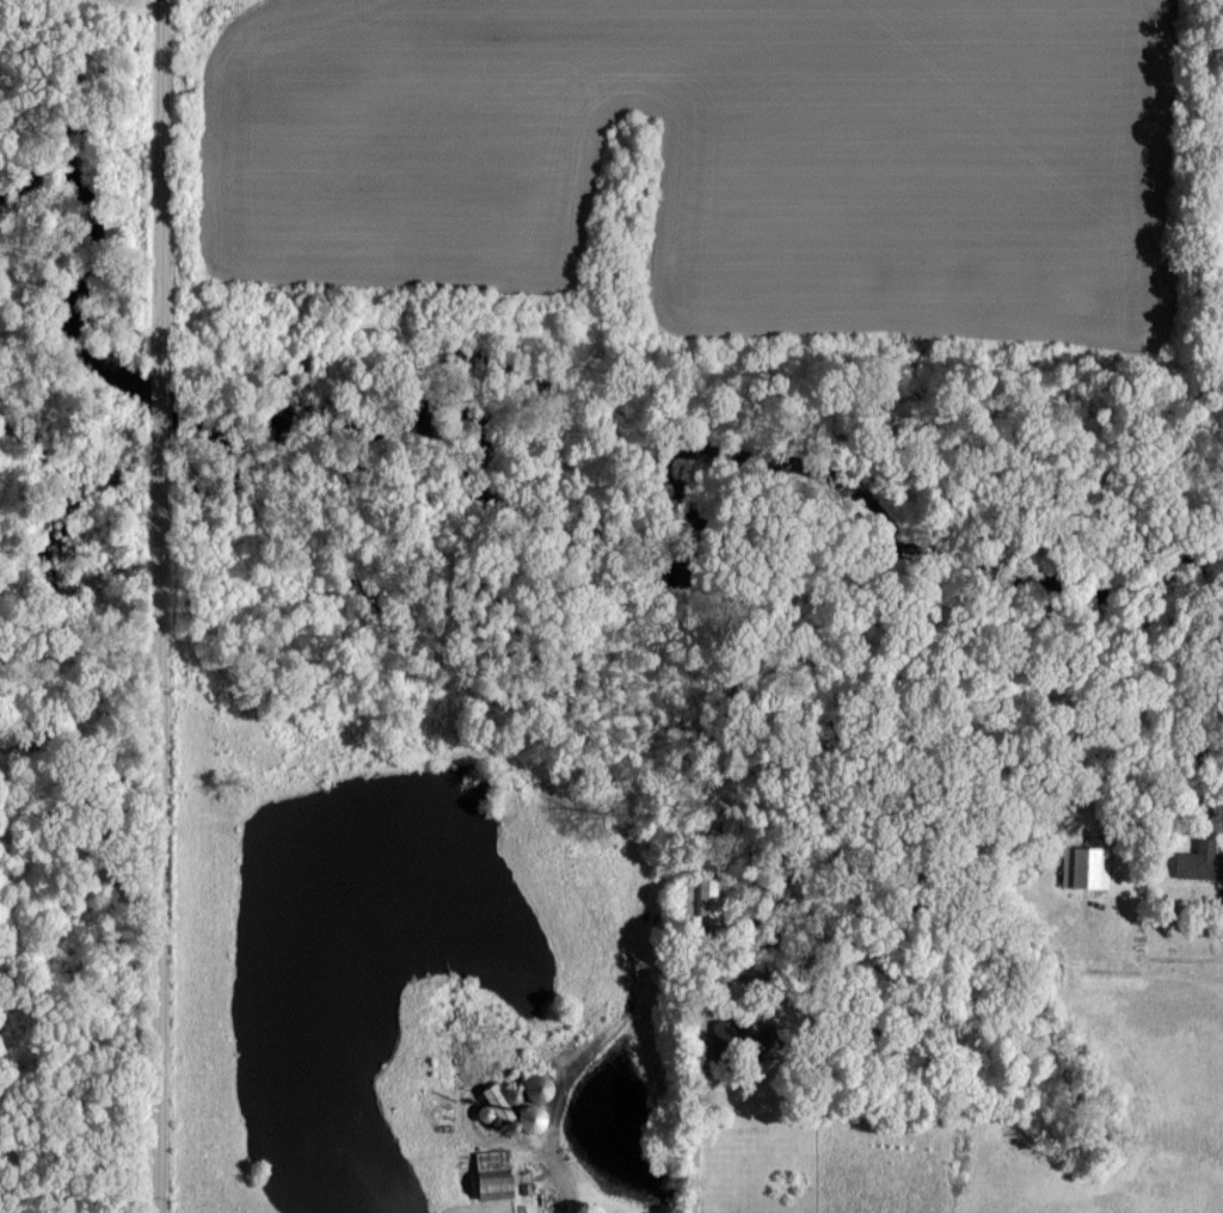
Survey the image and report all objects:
road: (170, 605)
building: (1200, 858)
building: (1092, 866)
building: (496, 1174)

